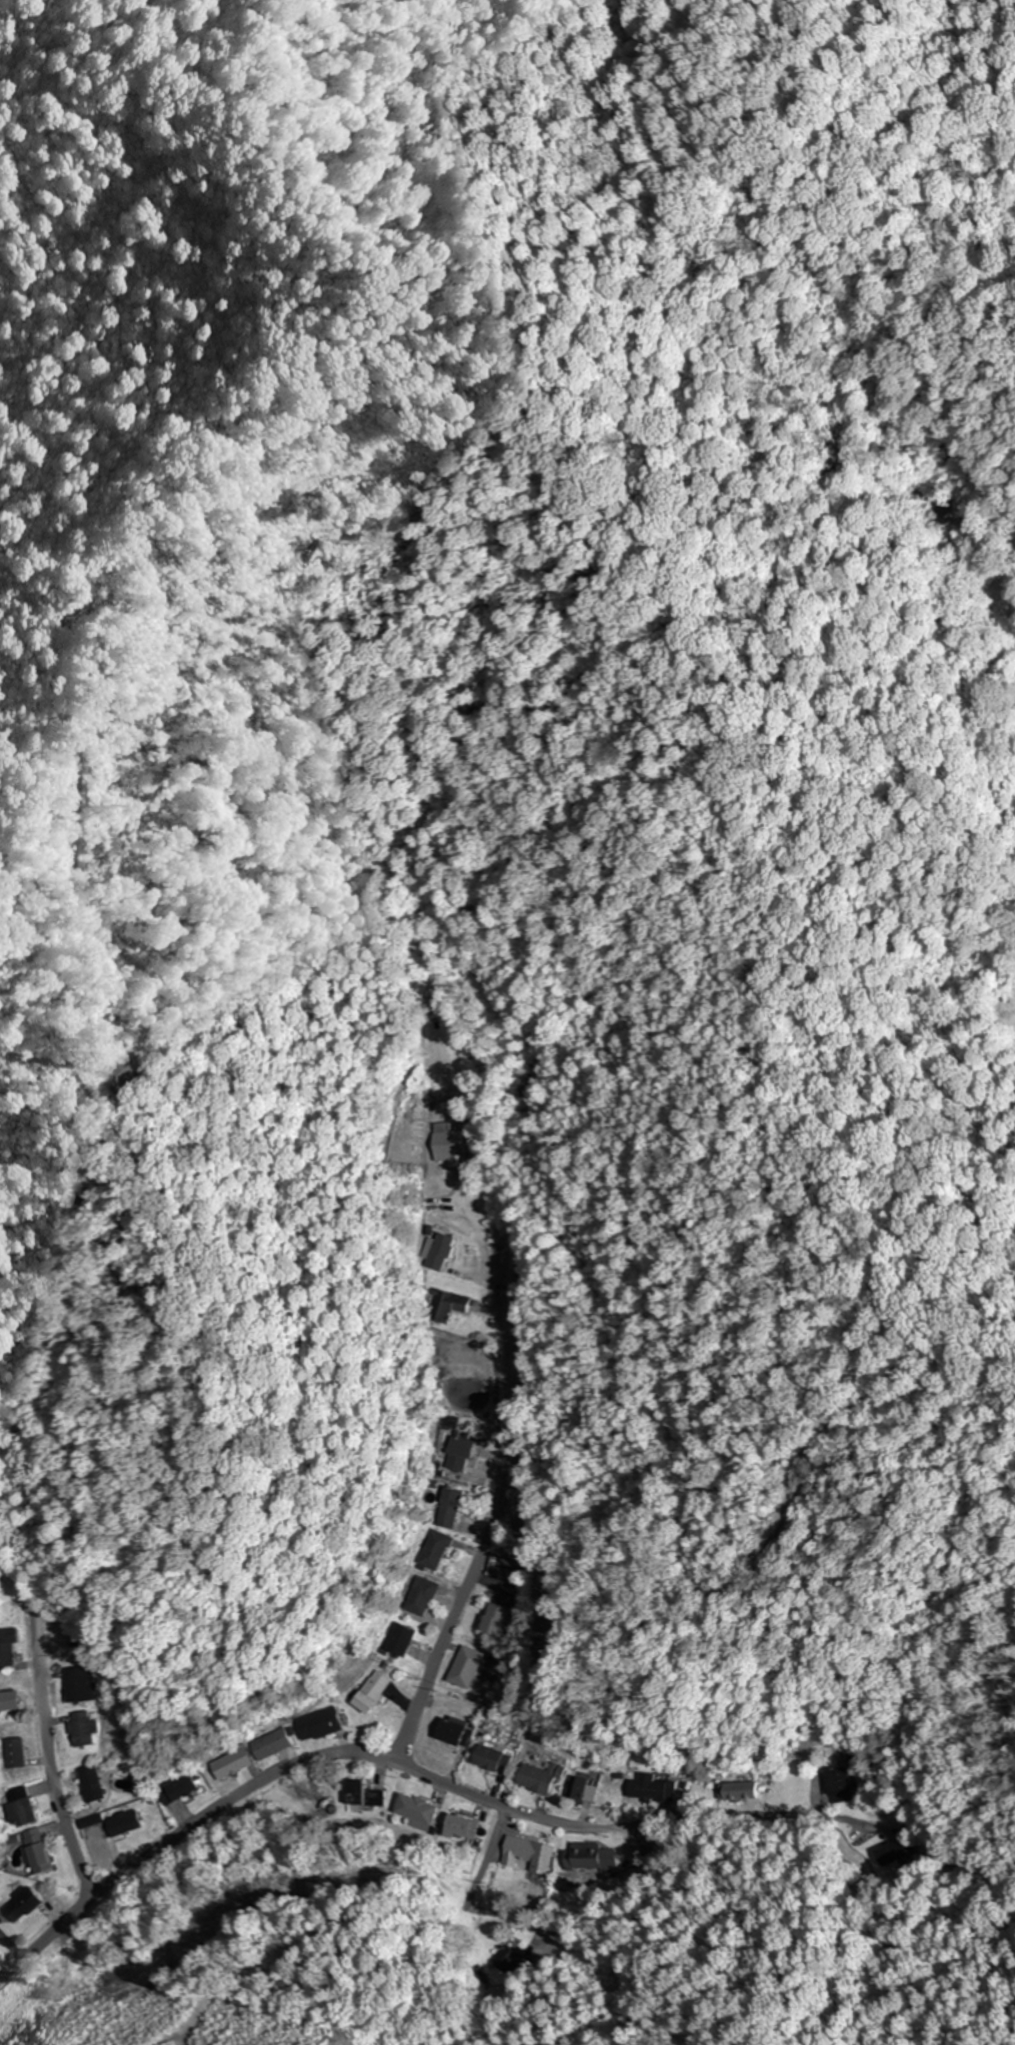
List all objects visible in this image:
building: (446, 1309)
building: (454, 1461)
building: (451, 1505)
building: (434, 1551)
building: (496, 1621)
building: (403, 1641)
building: (7, 1652)
road: (430, 1660)
building: (463, 1668)
building: (76, 1685)
building: (373, 1693)
building: (318, 1725)
building: (81, 1730)
building: (454, 1732)
building: (271, 1744)
road: (364, 1755)
building: (14, 1759)
building: (490, 1759)
building: (230, 1764)
building: (538, 1779)
building: (839, 1782)
building: (90, 1785)
building: (182, 1788)
building: (573, 1788)
building: (651, 1790)
road: (56, 1794)
building: (362, 1800)
building: (20, 1808)
building: (413, 1812)
building: (123, 1824)
building: (457, 1832)
building: (36, 1853)
building: (525, 1856)
road: (488, 1858)
building: (580, 1859)
building: (21, 1905)
building: (1, 1941)

